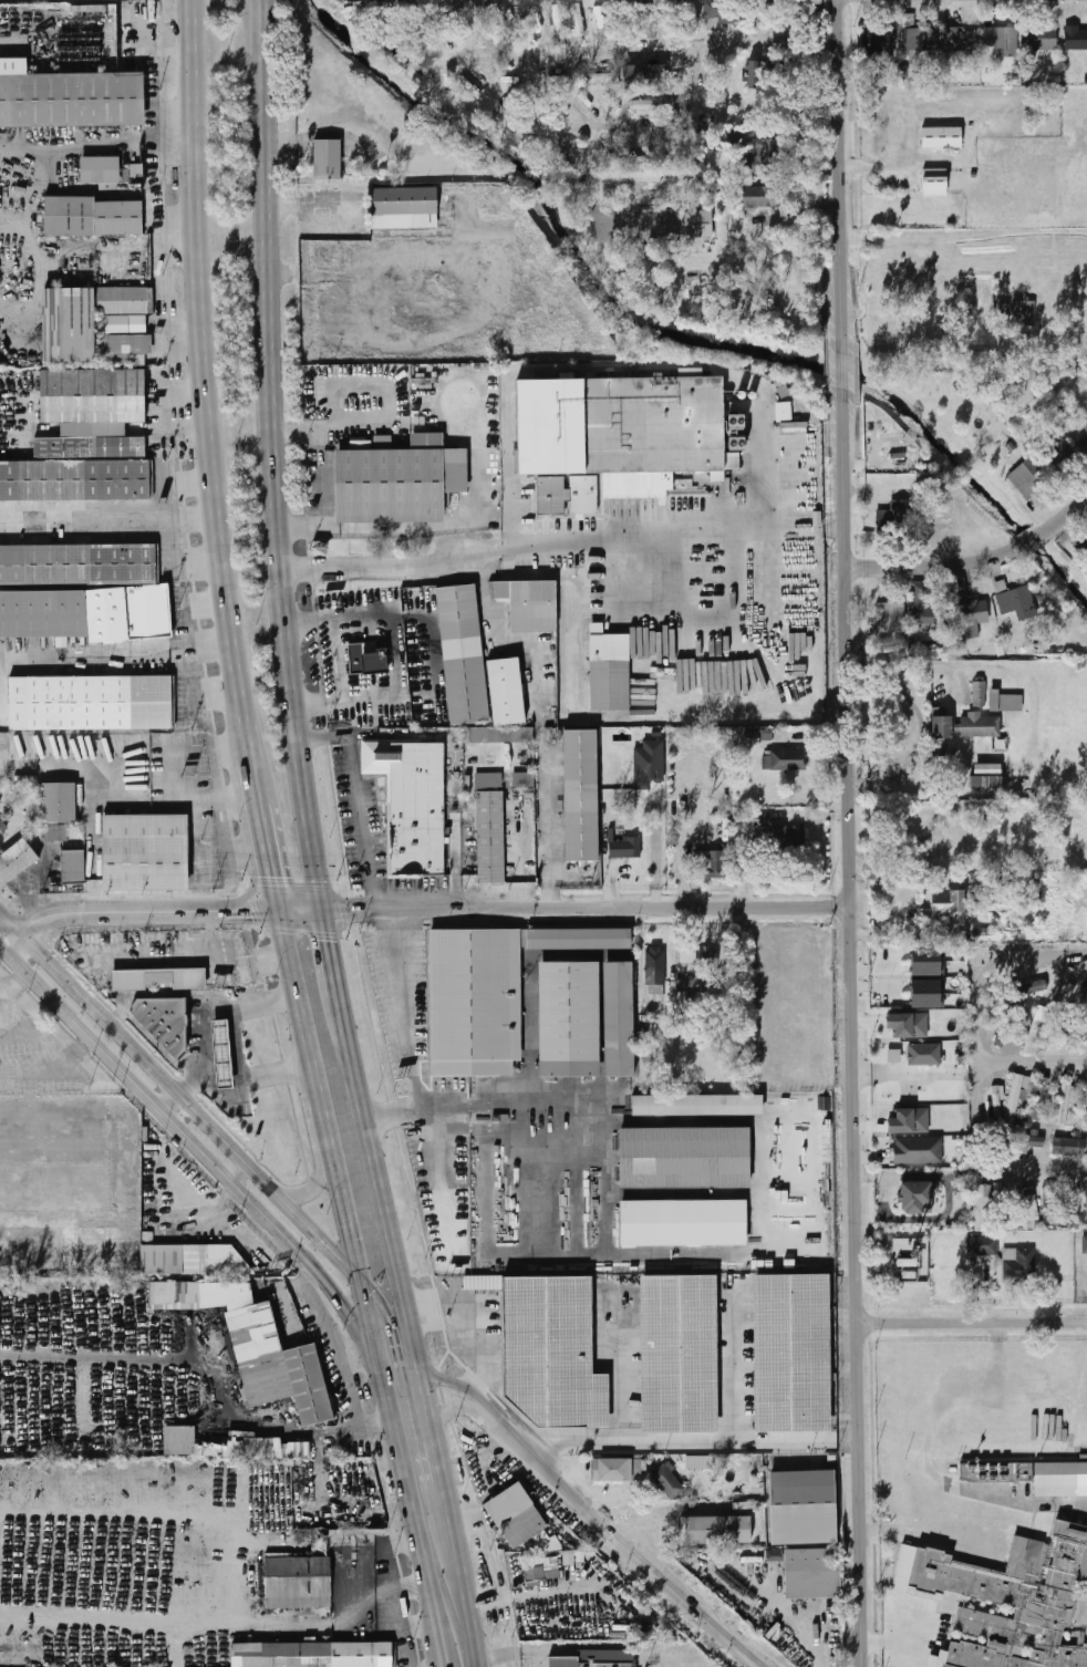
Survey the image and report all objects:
building: (724, 11)
building: (577, 19)
building: (652, 25)
building: (1041, 38)
building: (1075, 38)
building: (921, 39)
building: (961, 39)
building: (1002, 40)
building: (879, 42)
road: (457, 55)
building: (755, 74)
building: (644, 77)
building: (600, 79)
building: (714, 80)
building: (71, 100)
building: (653, 106)
building: (942, 137)
road: (100, 138)
building: (735, 146)
building: (682, 154)
building: (762, 155)
building: (327, 159)
road: (841, 168)
building: (135, 169)
building: (99, 170)
building: (935, 183)
building: (756, 197)
building: (404, 208)
building: (92, 217)
building: (698, 225)
building: (1031, 313)
building: (70, 324)
river: (673, 334)
road: (843, 370)
road: (211, 390)
road: (270, 390)
road: (179, 395)
building: (92, 396)
building: (1085, 424)
road: (174, 429)
building: (620, 431)
building: (1085, 445)
building: (87, 451)
building: (1060, 457)
road: (193, 474)
building: (1031, 479)
building: (398, 482)
building: (73, 483)
building: (582, 494)
building: (550, 497)
road: (511, 516)
road: (111, 518)
building: (894, 518)
road: (1063, 519)
road: (684, 530)
road: (1032, 542)
building: (77, 565)
road: (391, 567)
road: (938, 569)
building: (1015, 600)
building: (528, 604)
building: (967, 607)
building: (83, 613)
road: (364, 614)
building: (928, 617)
building: (892, 621)
building: (463, 654)
building: (365, 658)
road: (340, 659)
road: (121, 660)
building: (611, 679)
building: (505, 693)
building: (979, 694)
road: (372, 698)
building: (1005, 702)
building: (90, 704)
building: (980, 726)
building: (942, 734)
building: (499, 736)
building: (785, 760)
building: (649, 764)
building: (986, 776)
building: (525, 781)
road: (111, 784)
building: (581, 796)
road: (358, 799)
building: (0, 801)
building: (60, 803)
building: (412, 804)
road: (195, 821)
building: (0, 828)
building: (490, 829)
road: (548, 830)
building: (54, 832)
building: (787, 840)
road: (272, 843)
road: (312, 846)
building: (623, 849)
building: (145, 852)
road: (655, 858)
building: (15, 861)
building: (710, 864)
building: (73, 867)
traffic signals: (278, 874)
building: (944, 904)
road: (624, 909)
traffic signals: (246, 911)
road: (250, 911)
road: (360, 911)
road: (105, 912)
road: (303, 912)
traffic signals: (345, 912)
road: (908, 932)
building: (578, 939)
traffic signals: (329, 941)
road: (4, 950)
road: (331, 953)
building: (706, 957)
building: (926, 962)
building: (655, 965)
building: (163, 977)
road: (298, 984)
building: (691, 985)
building: (1064, 985)
road: (17, 987)
building: (1025, 990)
building: (1086, 992)
building: (926, 993)
building: (475, 1002)
road: (975, 1016)
building: (167, 1017)
road: (9, 1018)
building: (569, 1019)
building: (619, 1021)
building: (1060, 1023)
building: (909, 1025)
building: (1068, 1027)
building: (1005, 1029)
road: (855, 1034)
road: (43, 1036)
building: (1033, 1036)
building: (1085, 1036)
road: (404, 1040)
road: (239, 1046)
building: (226, 1050)
gas station: (226, 1050)
building: (924, 1054)
building: (894, 1056)
road: (318, 1075)
road: (182, 1094)
building: (1018, 1095)
road: (479, 1099)
building: (996, 1099)
building: (1041, 1100)
building: (1086, 1100)
road: (170, 1101)
building: (697, 1105)
building: (1064, 1106)
road: (327, 1118)
building: (910, 1121)
road: (480, 1129)
building: (1025, 1140)
building: (1067, 1146)
building: (918, 1151)
road: (327, 1156)
building: (684, 1159)
road: (444, 1166)
road: (982, 1166)
road: (239, 1171)
road: (225, 1174)
building: (1086, 1193)
road: (300, 1195)
building: (918, 1197)
building: (1023, 1201)
building: (1066, 1202)
building: (983, 1207)
building: (1048, 1210)
road: (346, 1212)
building: (1001, 1212)
road: (530, 1220)
building: (683, 1223)
building: (1085, 1244)
building: (983, 1245)
road: (634, 1255)
road: (397, 1256)
building: (1021, 1257)
building: (193, 1260)
traffic signals: (364, 1284)
building: (174, 1294)
traffic signals: (341, 1297)
road: (477, 1316)
road: (974, 1323)
building: (551, 1352)
building: (791, 1352)
building: (680, 1354)
road: (380, 1355)
road: (218, 1364)
building: (275, 1364)
road: (733, 1371)
road: (620, 1373)
road: (403, 1376)
road: (467, 1388)
road: (462, 1405)
road: (845, 1439)
road: (673, 1442)
building: (230, 1446)
building: (613, 1469)
building: (1031, 1477)
building: (666, 1480)
road: (438, 1497)
road: (1023, 1502)
building: (803, 1508)
building: (515, 1515)
building: (716, 1531)
road: (423, 1545)
road: (456, 1545)
road: (623, 1547)
building: (551, 1564)
building: (814, 1575)
building: (300, 1576)
building: (1017, 1599)
road: (470, 1619)
road: (799, 1622)
road: (893, 1644)
road: (589, 1648)
building: (314, 1655)
building: (581, 1663)

